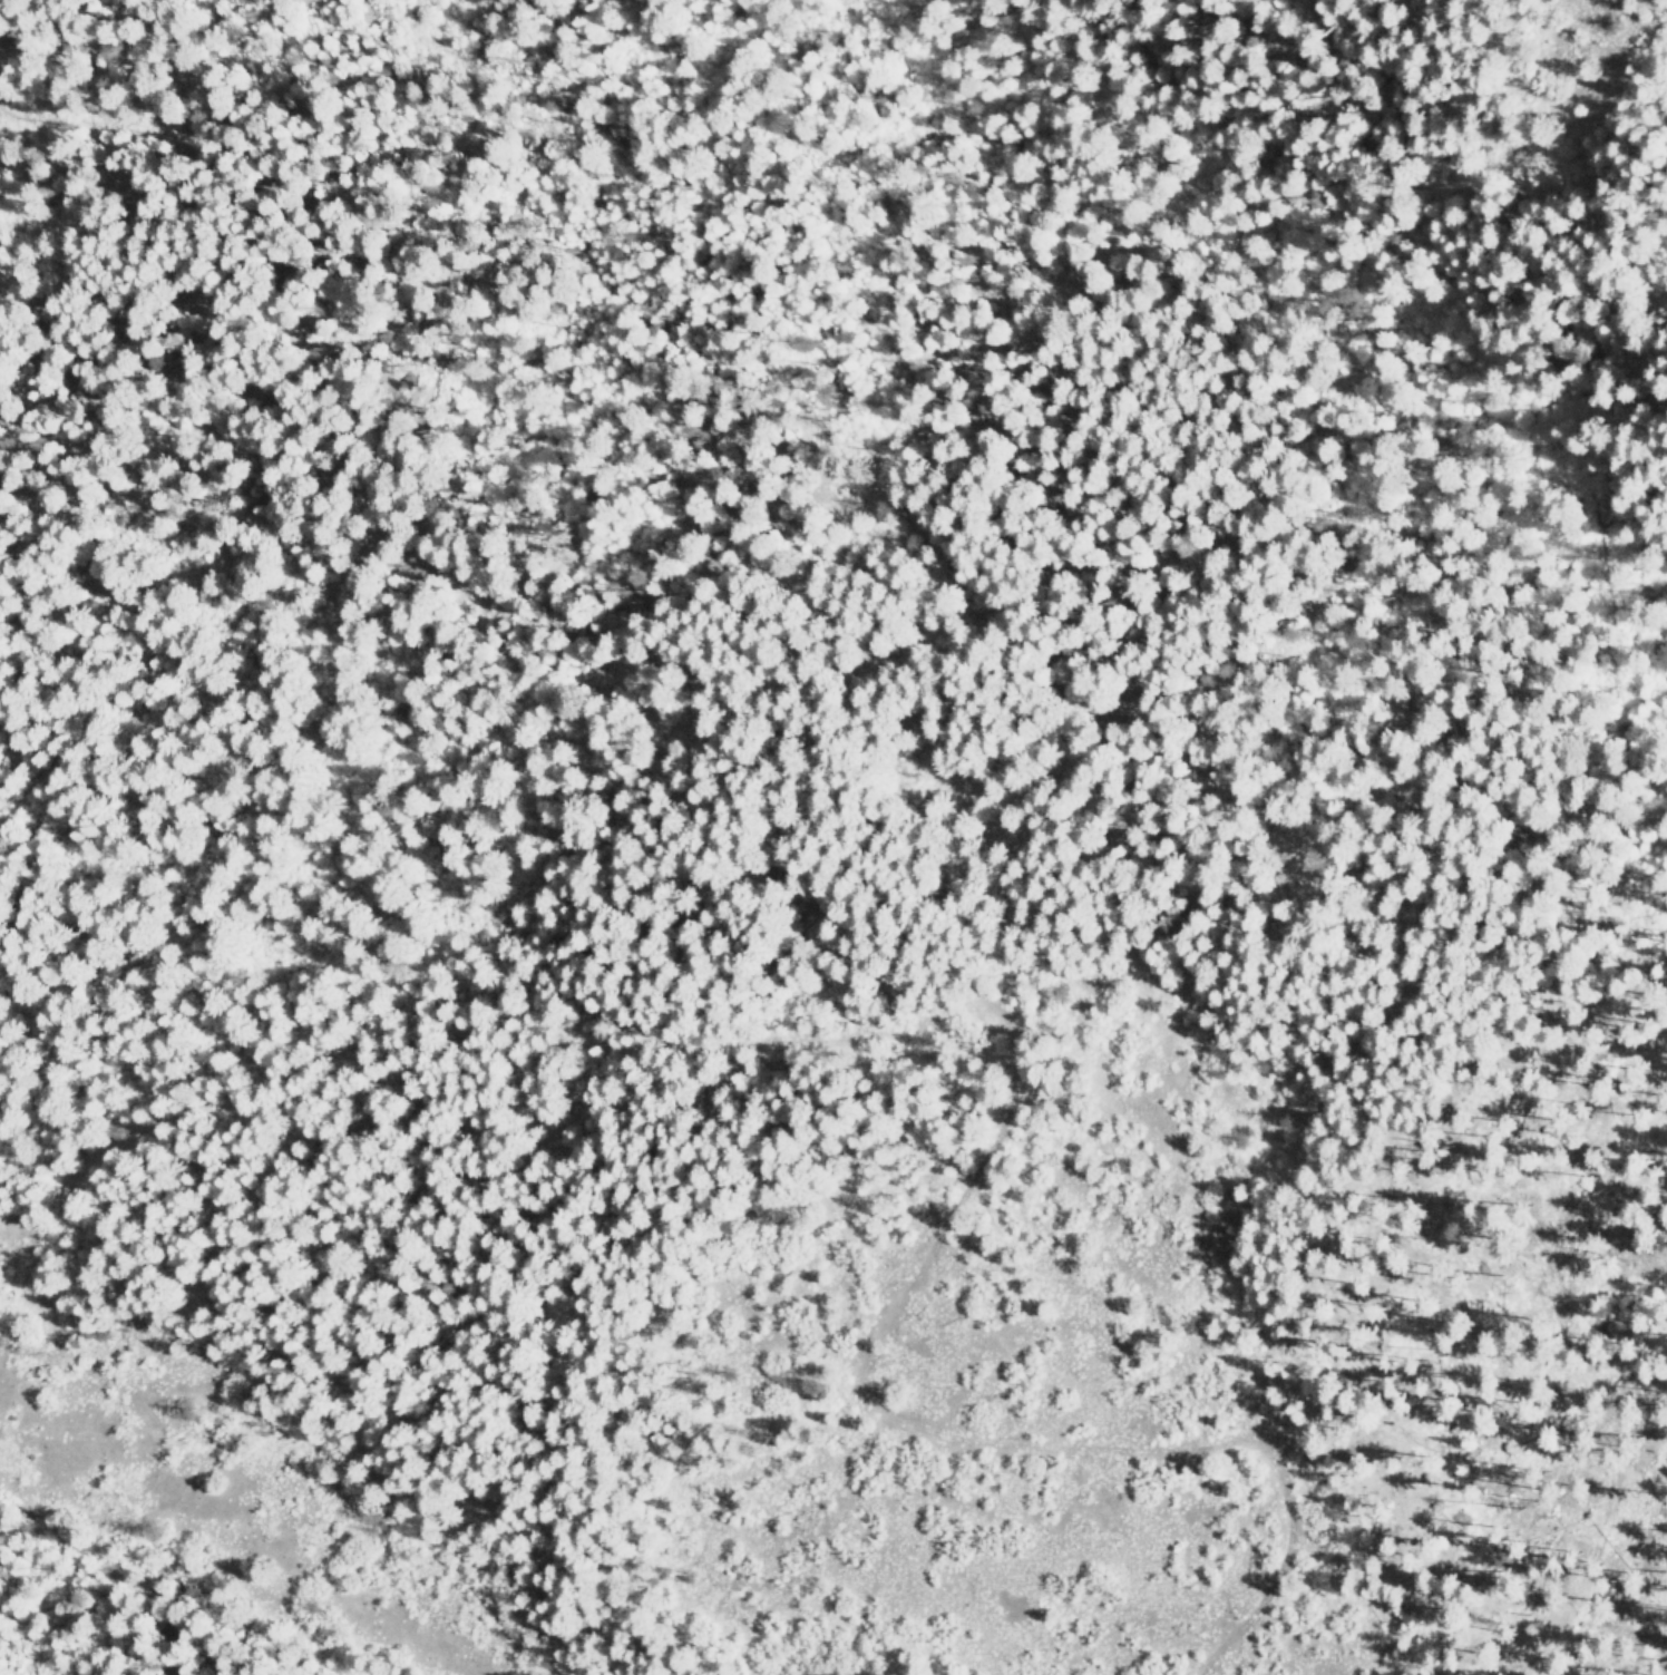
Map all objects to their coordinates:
road: (940, 1223)

